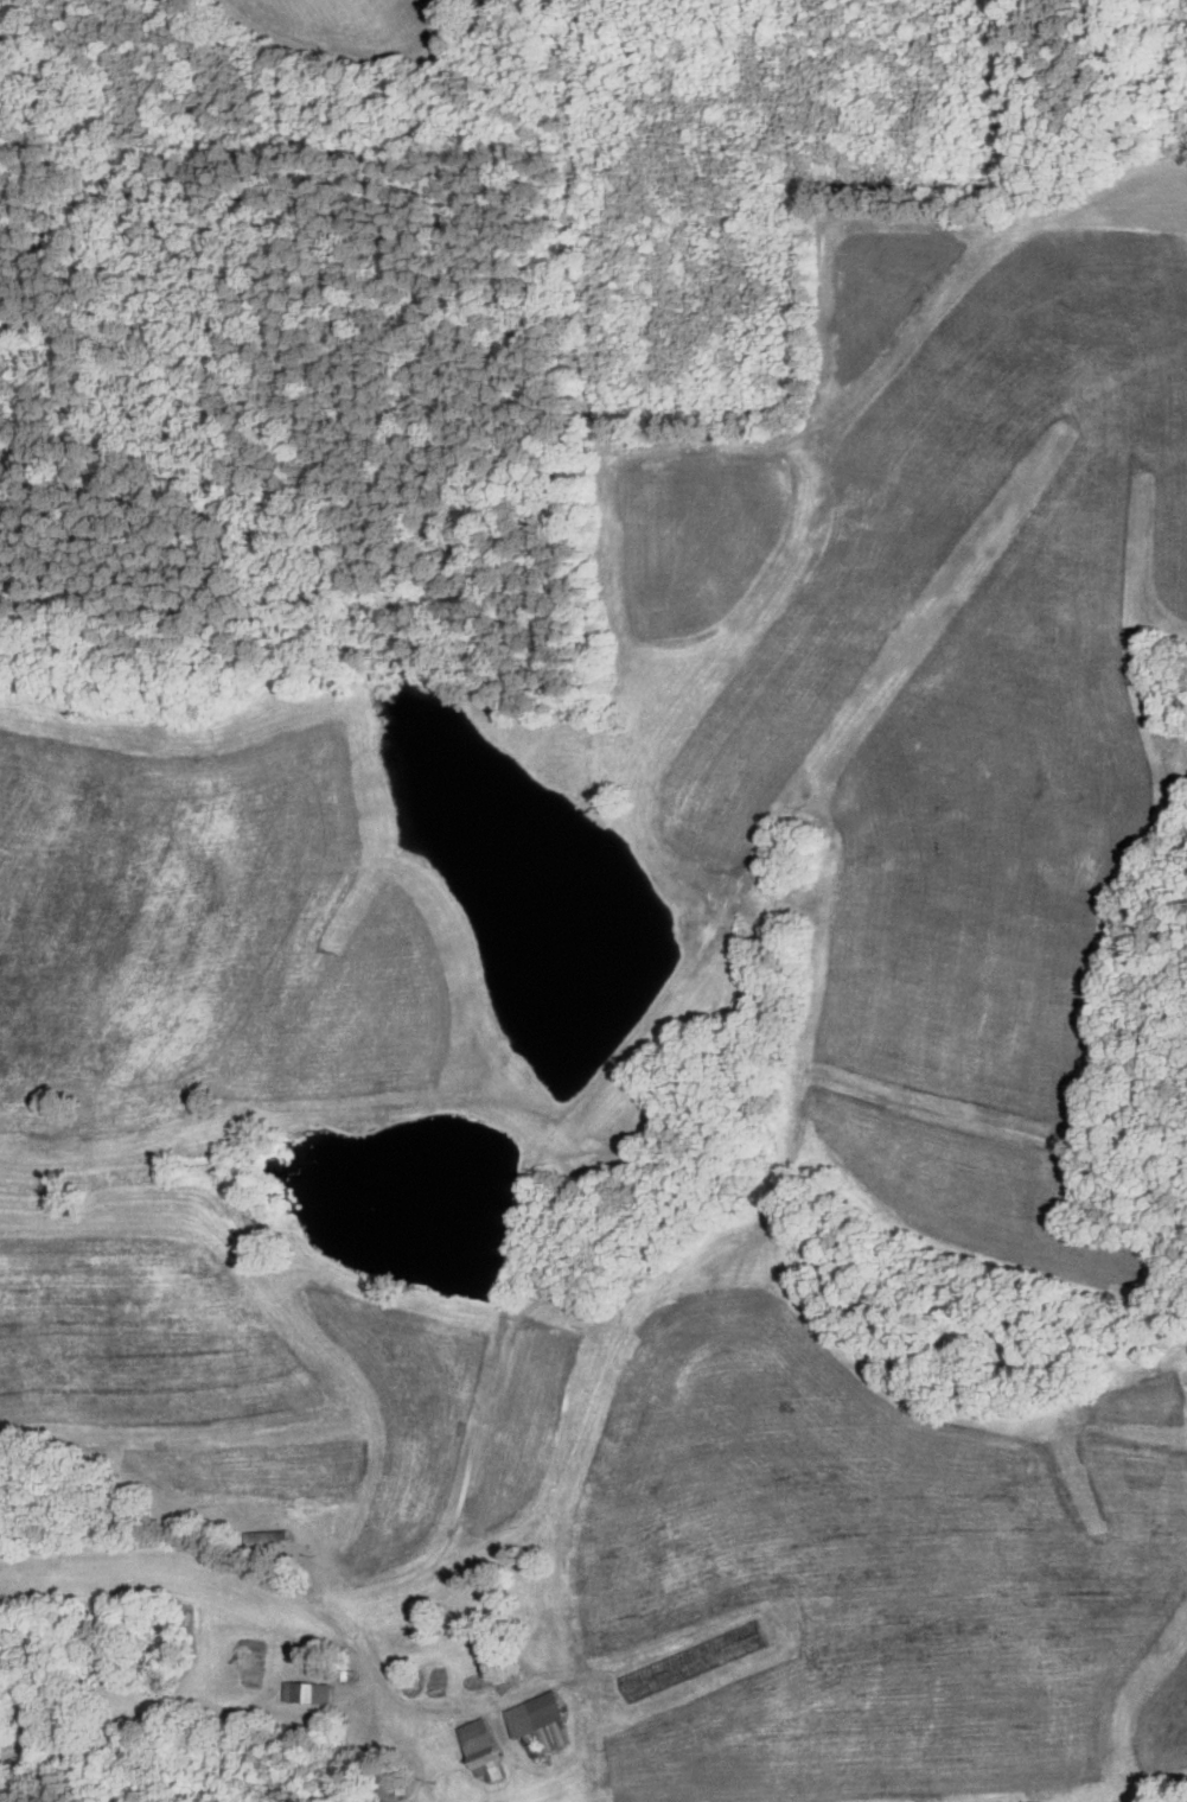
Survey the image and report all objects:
building: (268, 1535)
road: (279, 1590)
building: (308, 1692)
building: (536, 1714)
building: (483, 1749)

